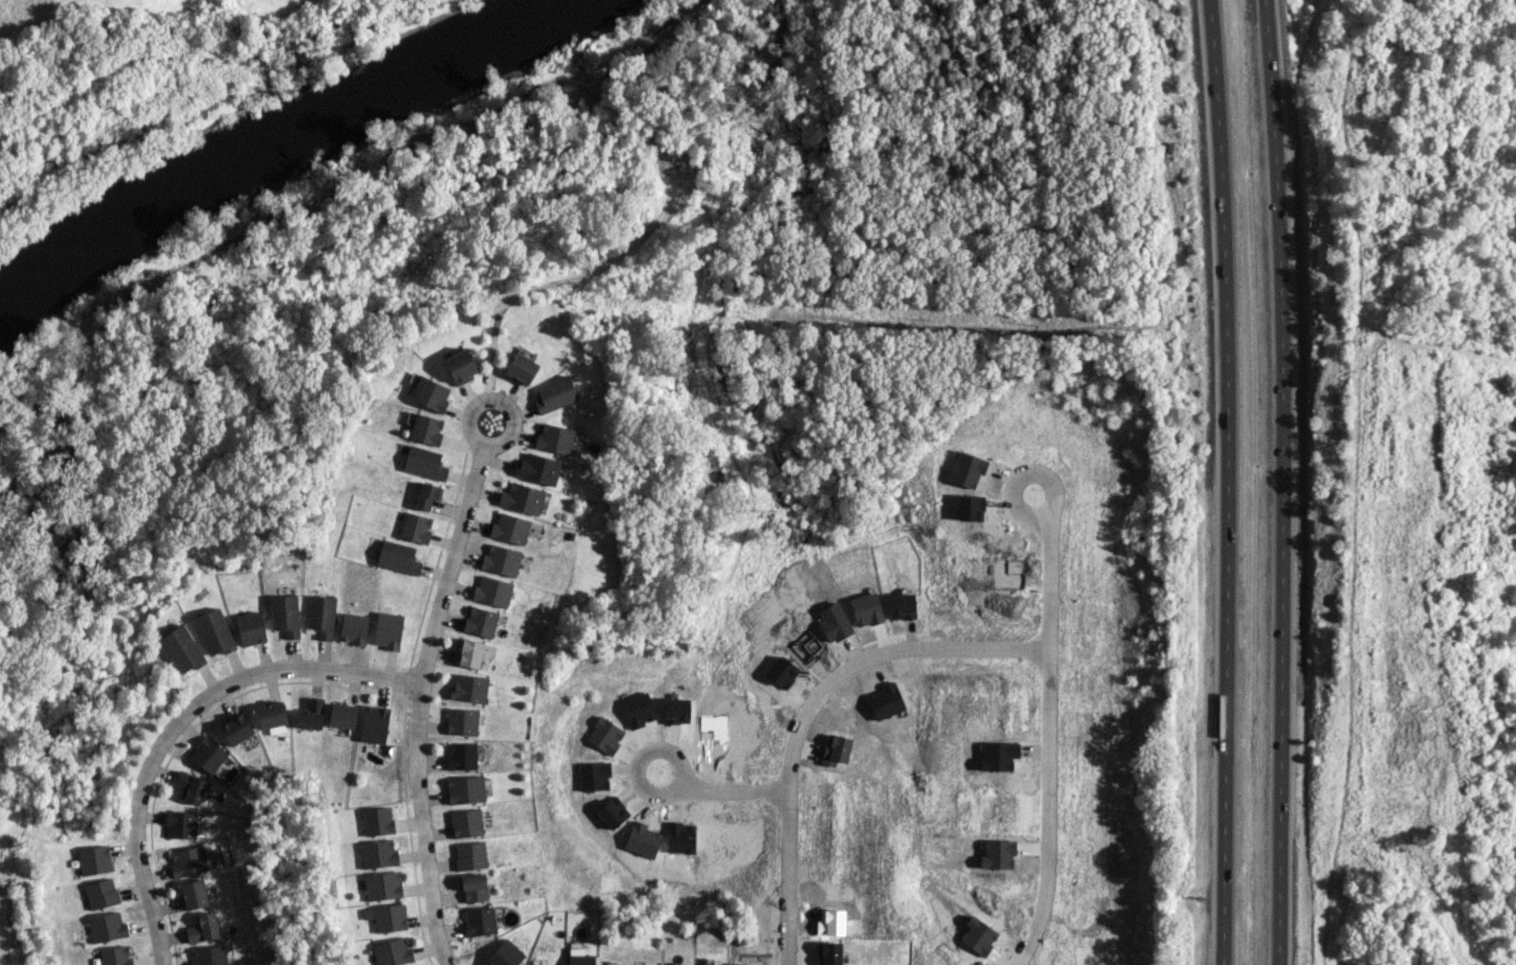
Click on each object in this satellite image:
building: (460, 366)
building: (521, 368)
building: (429, 393)
building: (554, 394)
road: (498, 402)
building: (426, 429)
building: (554, 438)
building: (424, 462)
building: (538, 468)
road: (1226, 482)
road: (1282, 482)
building: (427, 495)
building: (521, 498)
building: (415, 527)
building: (510, 527)
building: (398, 557)
building: (501, 560)
building: (492, 591)
building: (285, 614)
building: (321, 615)
building: (481, 621)
building: (250, 628)
building: (353, 628)
building: (388, 630)
building: (214, 631)
building: (182, 648)
building: (470, 653)
building: (469, 688)
road: (418, 703)
road: (810, 706)
building: (271, 714)
building: (310, 714)
building: (342, 715)
road: (177, 719)
building: (462, 721)
building: (374, 724)
building: (236, 729)
road: (1052, 731)
road: (657, 748)
building: (207, 754)
building: (461, 755)
building: (190, 786)
building: (466, 789)
road: (733, 789)
building: (377, 820)
building: (466, 823)
building: (181, 824)
building: (378, 853)
building: (471, 855)
building: (94, 859)
building: (188, 861)
building: (382, 885)
building: (474, 887)
building: (101, 893)
building: (194, 894)
building: (387, 916)
building: (480, 920)
building: (106, 927)
building: (203, 927)
building: (392, 952)
building: (505, 954)
building: (116, 955)
building: (209, 955)
building: (580, 957)

